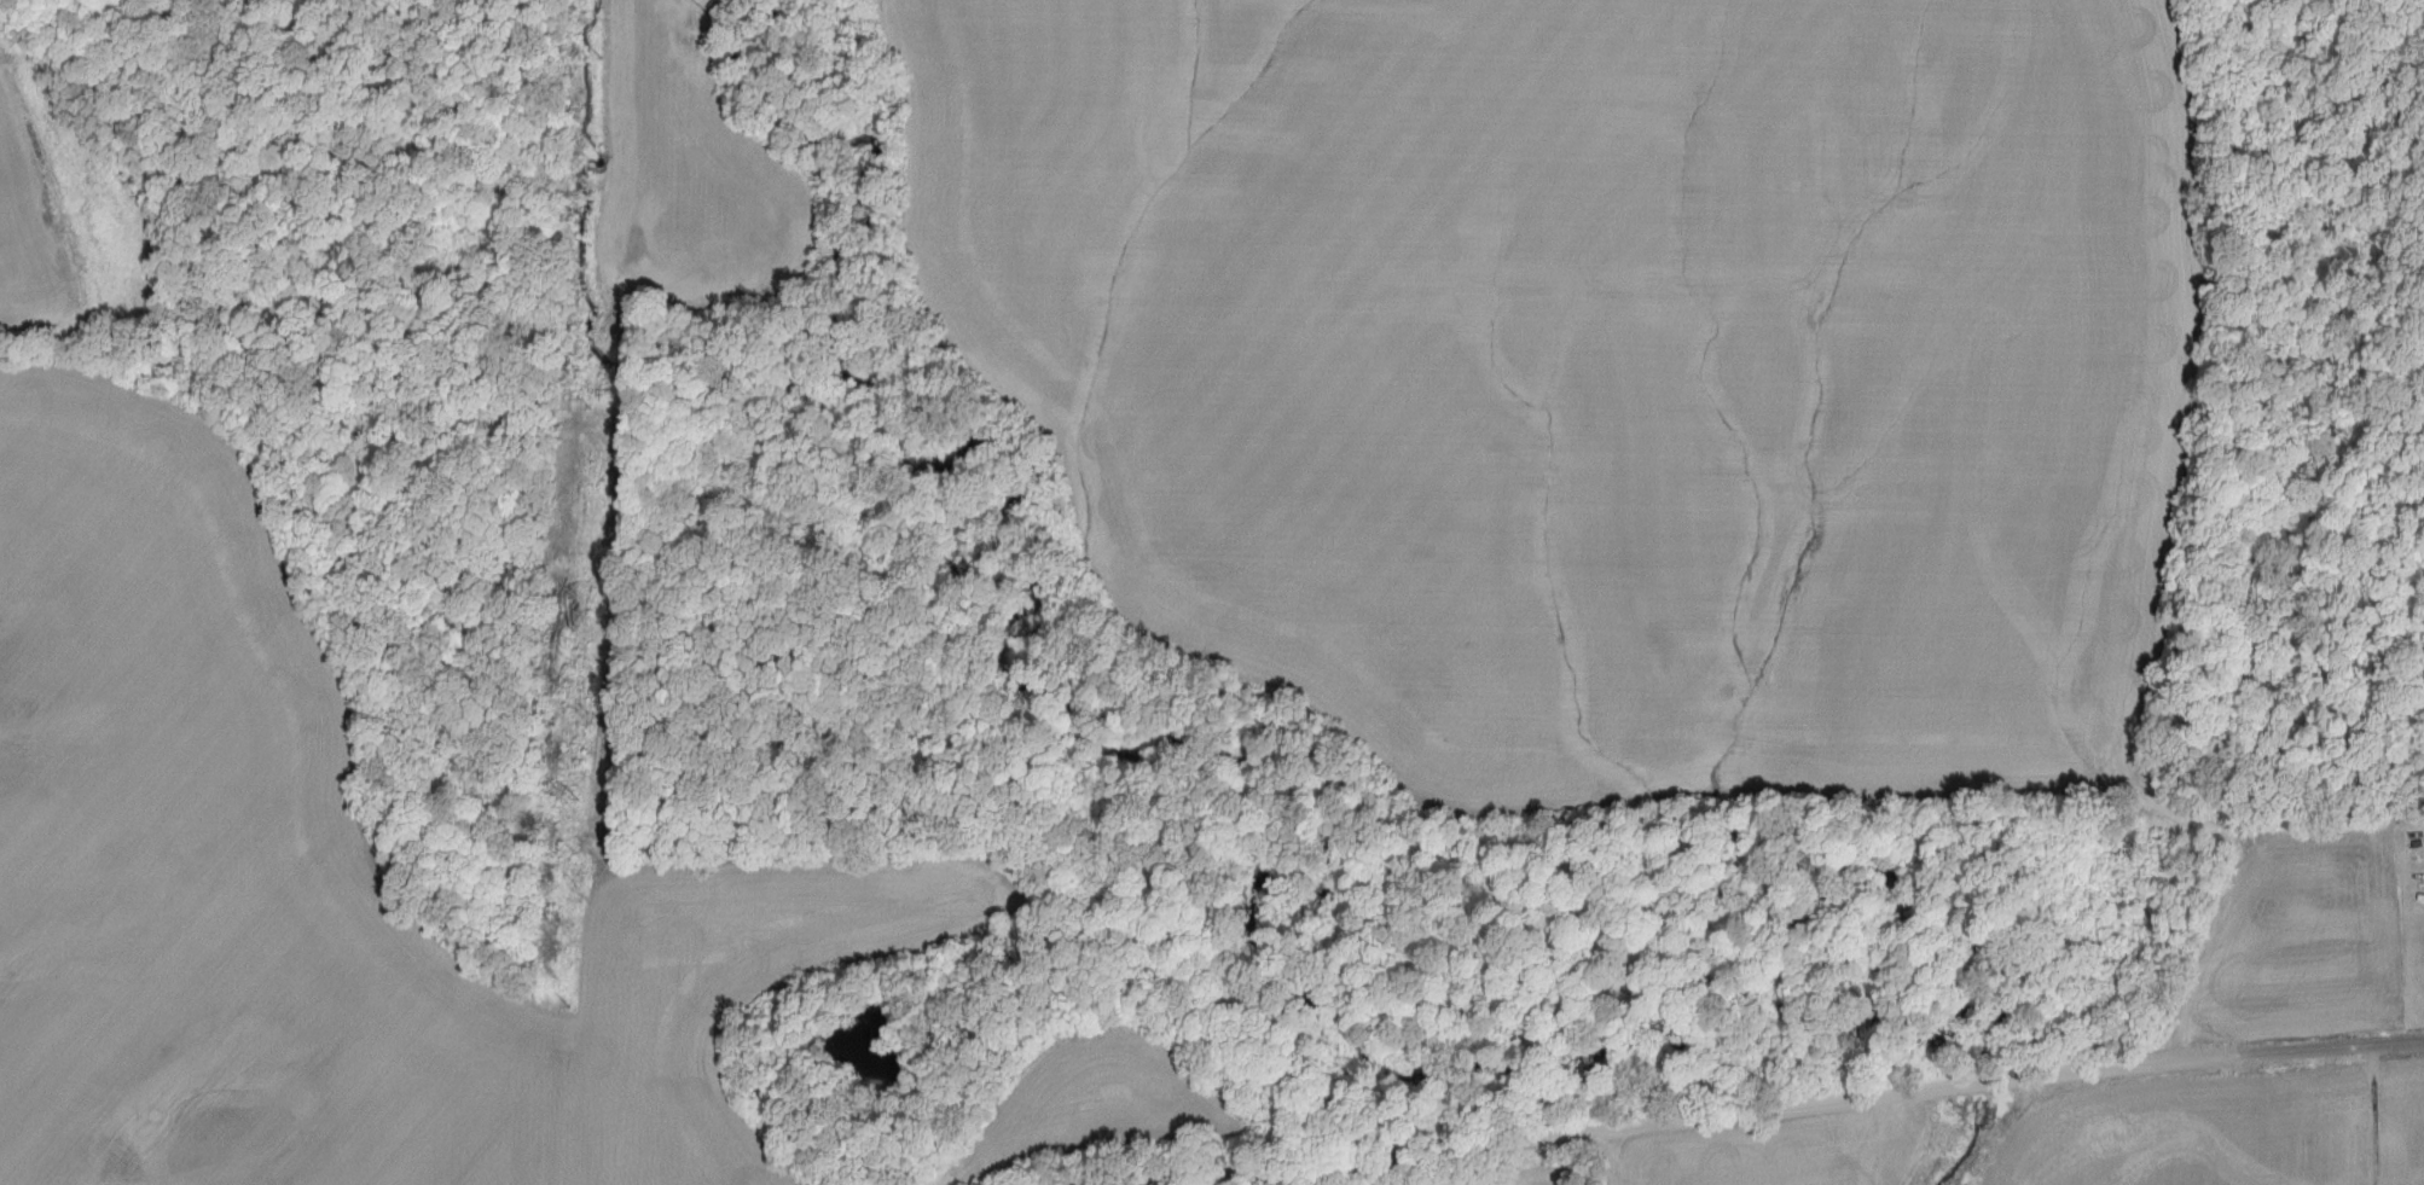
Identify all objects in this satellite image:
road: (1778, 1110)

